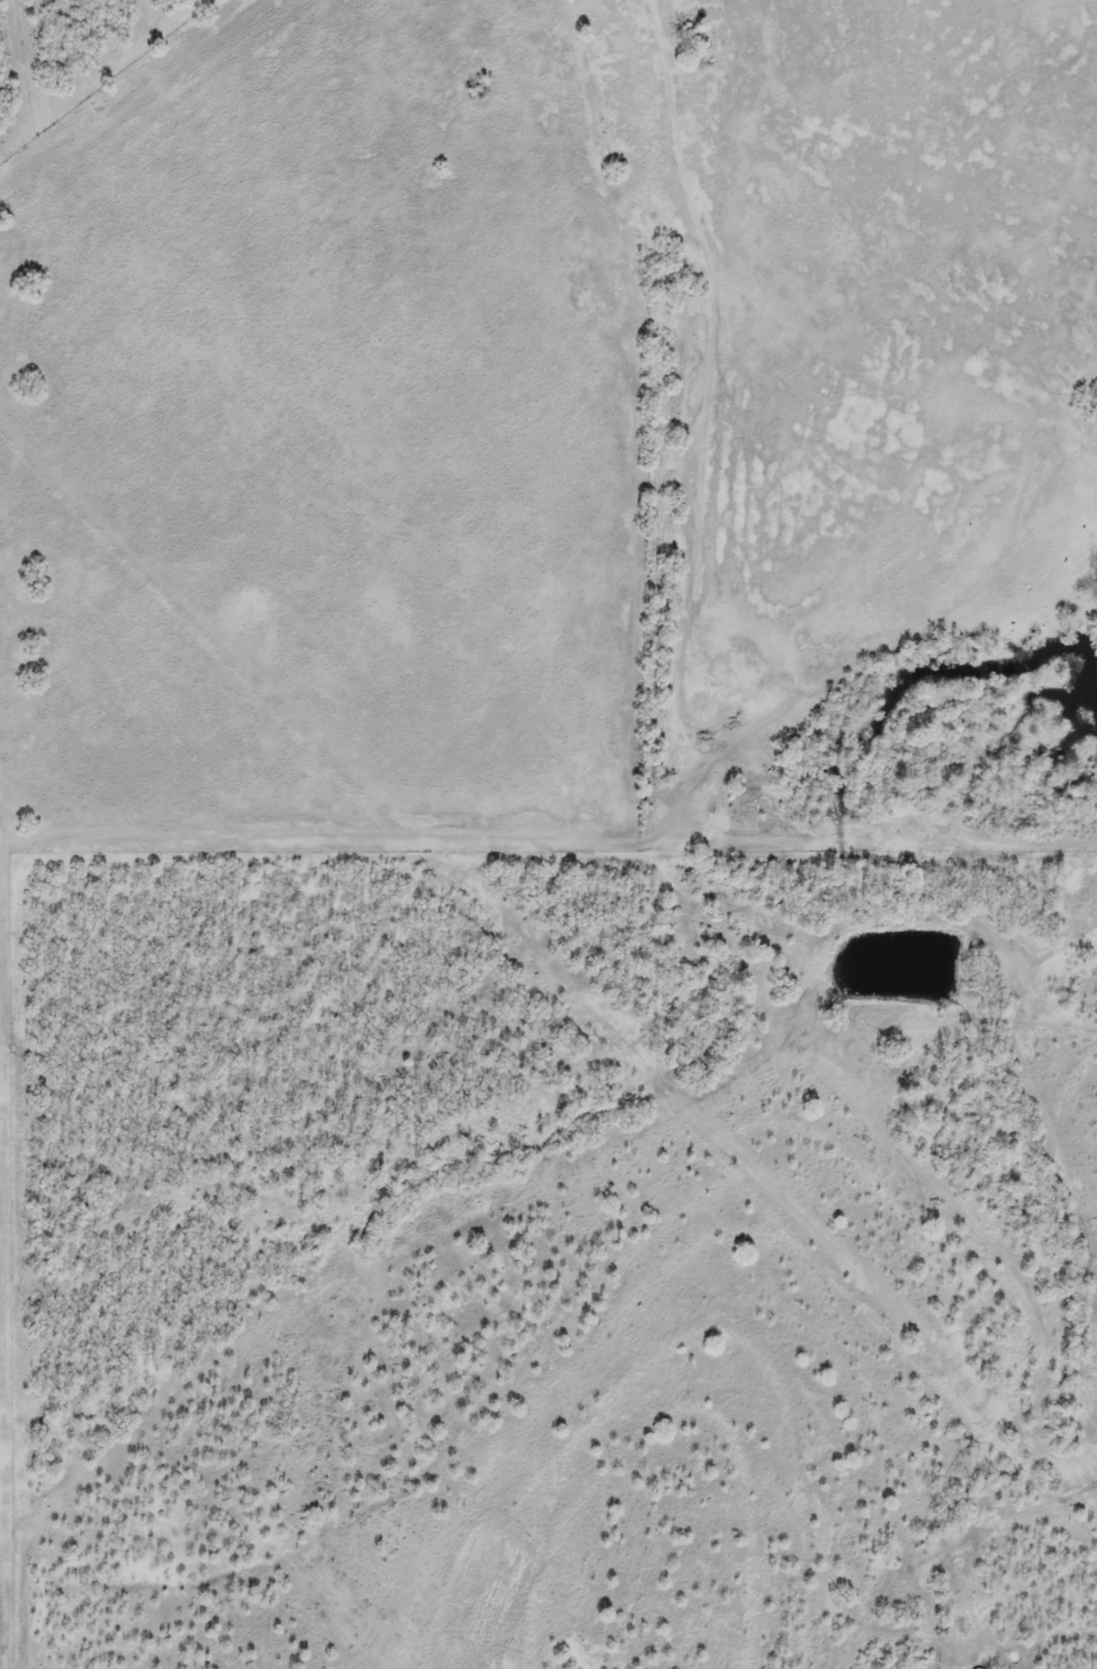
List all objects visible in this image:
road: (674, 254)

